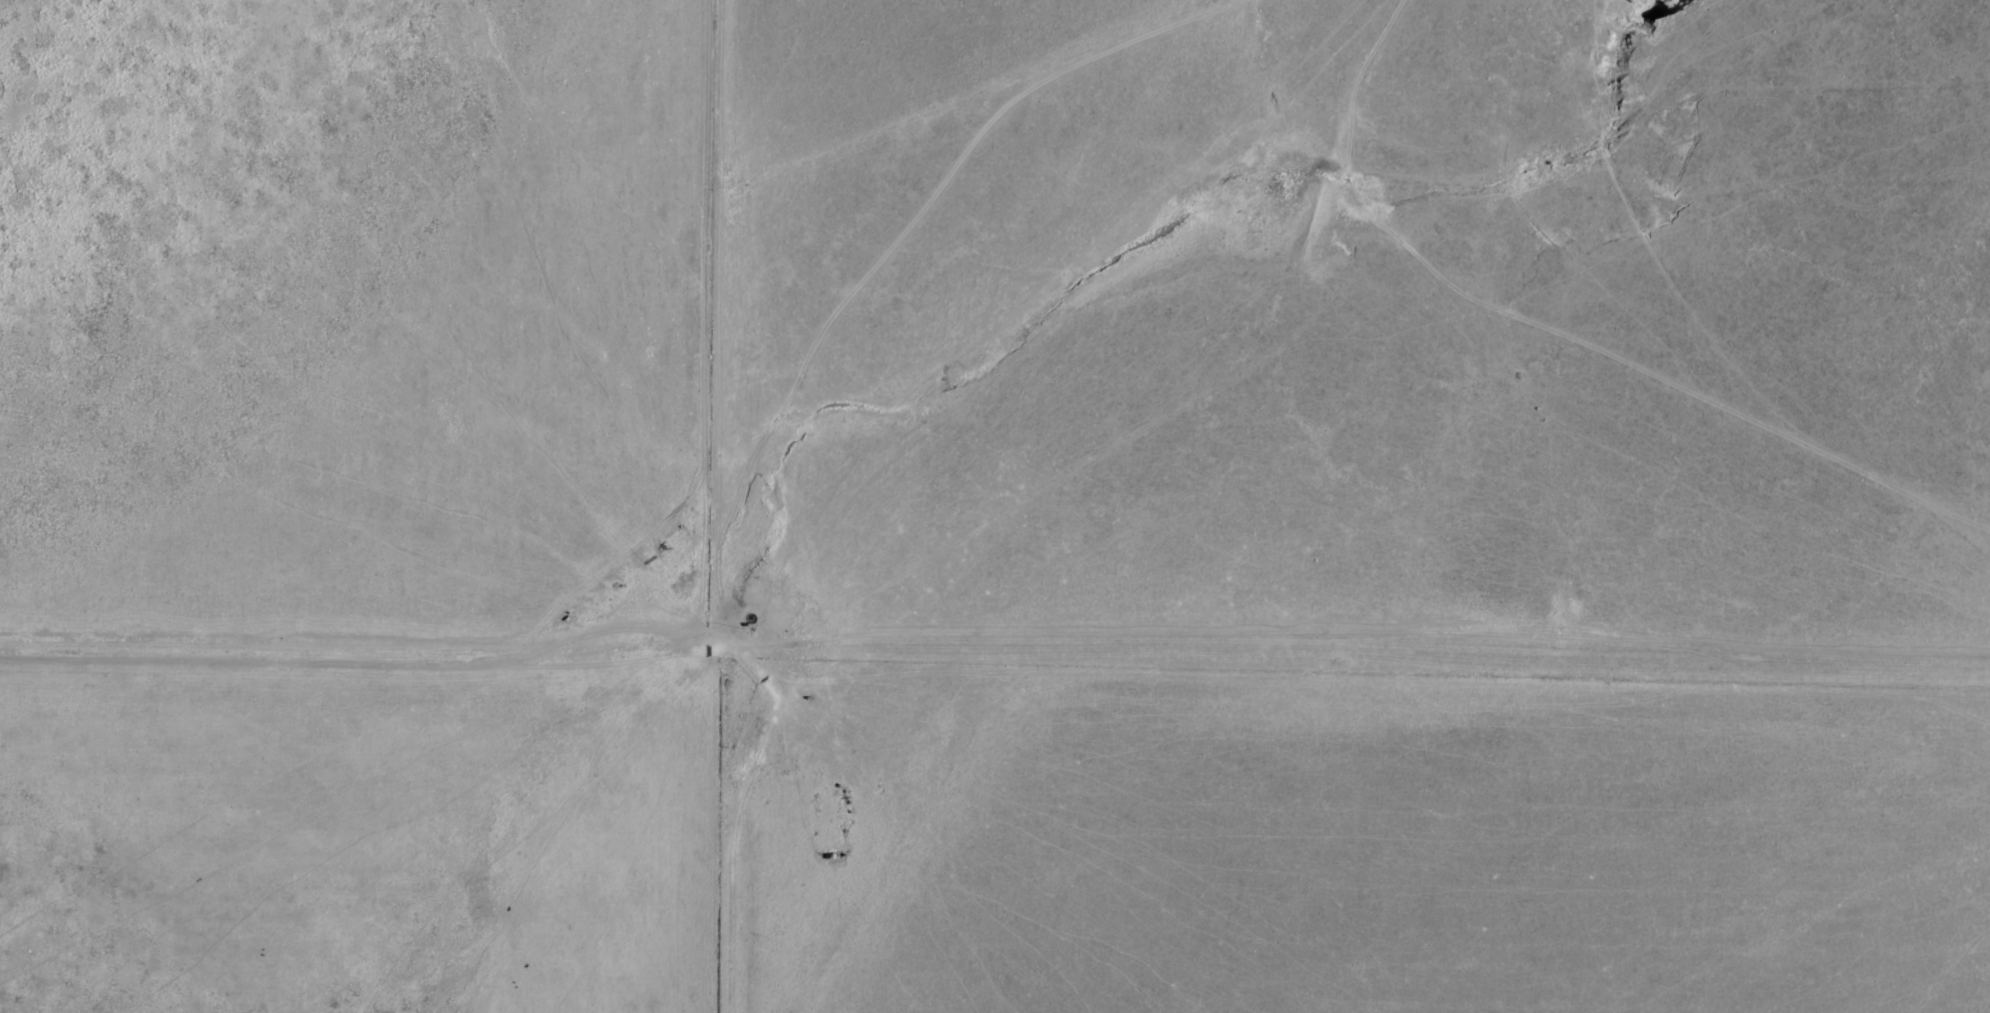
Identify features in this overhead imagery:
road: (370, 663)

